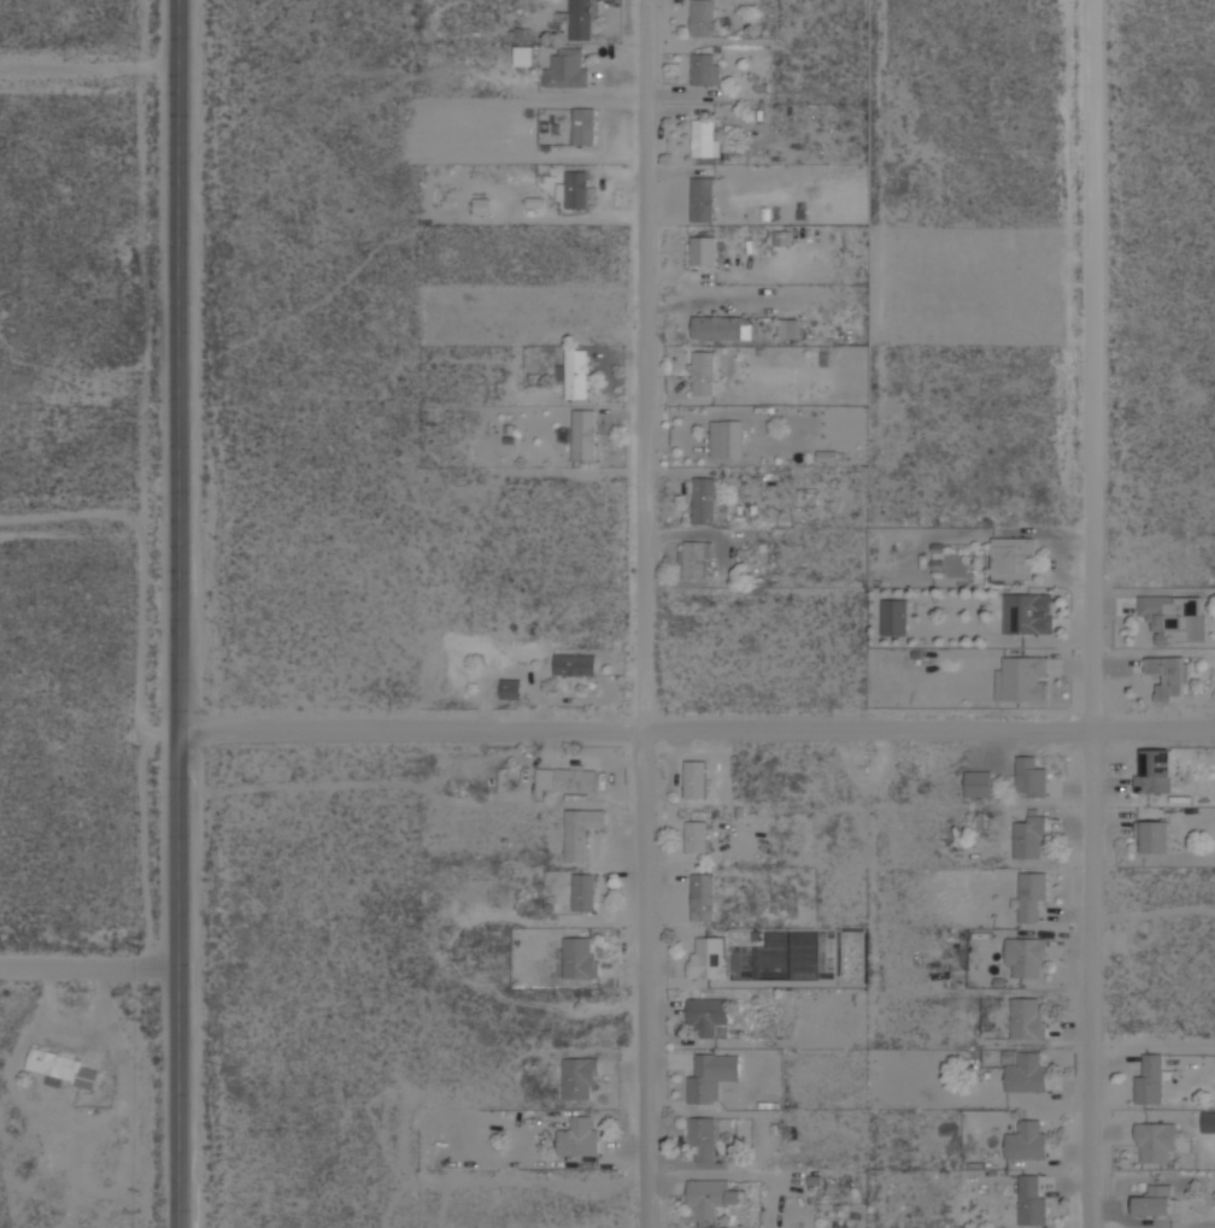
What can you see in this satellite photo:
building: (582, 17)
building: (702, 17)
building: (524, 54)
road: (88, 66)
building: (565, 66)
building: (705, 69)
building: (583, 125)
building: (551, 135)
building: (705, 137)
building: (574, 188)
building: (703, 198)
building: (704, 249)
building: (722, 325)
building: (787, 328)
building: (702, 371)
building: (574, 372)
building: (583, 434)
building: (727, 437)
building: (704, 499)
road: (88, 521)
building: (1012, 558)
building: (693, 559)
building: (1027, 612)
road: (176, 613)
road: (648, 613)
road: (1094, 613)
building: (894, 617)
building: (1174, 617)
building: (575, 664)
building: (1169, 675)
building: (1022, 678)
building: (511, 687)
road: (695, 733)
building: (1155, 771)
building: (1029, 776)
building: (565, 777)
building: (695, 778)
building: (979, 782)
building: (581, 832)
building: (697, 835)
building: (1156, 836)
building: (1031, 838)
building: (583, 891)
building: (703, 895)
building: (1033, 897)
building: (1027, 956)
building: (580, 957)
building: (709, 957)
road: (88, 969)
building: (708, 1017)
building: (1027, 1020)
building: (63, 1068)
building: (1027, 1073)
building: (710, 1075)
building: (579, 1076)
building: (1149, 1079)
building: (580, 1136)
building: (702, 1139)
building: (1027, 1141)
building: (1157, 1142)
building: (710, 1197)
building: (1031, 1200)
building: (1155, 1200)

